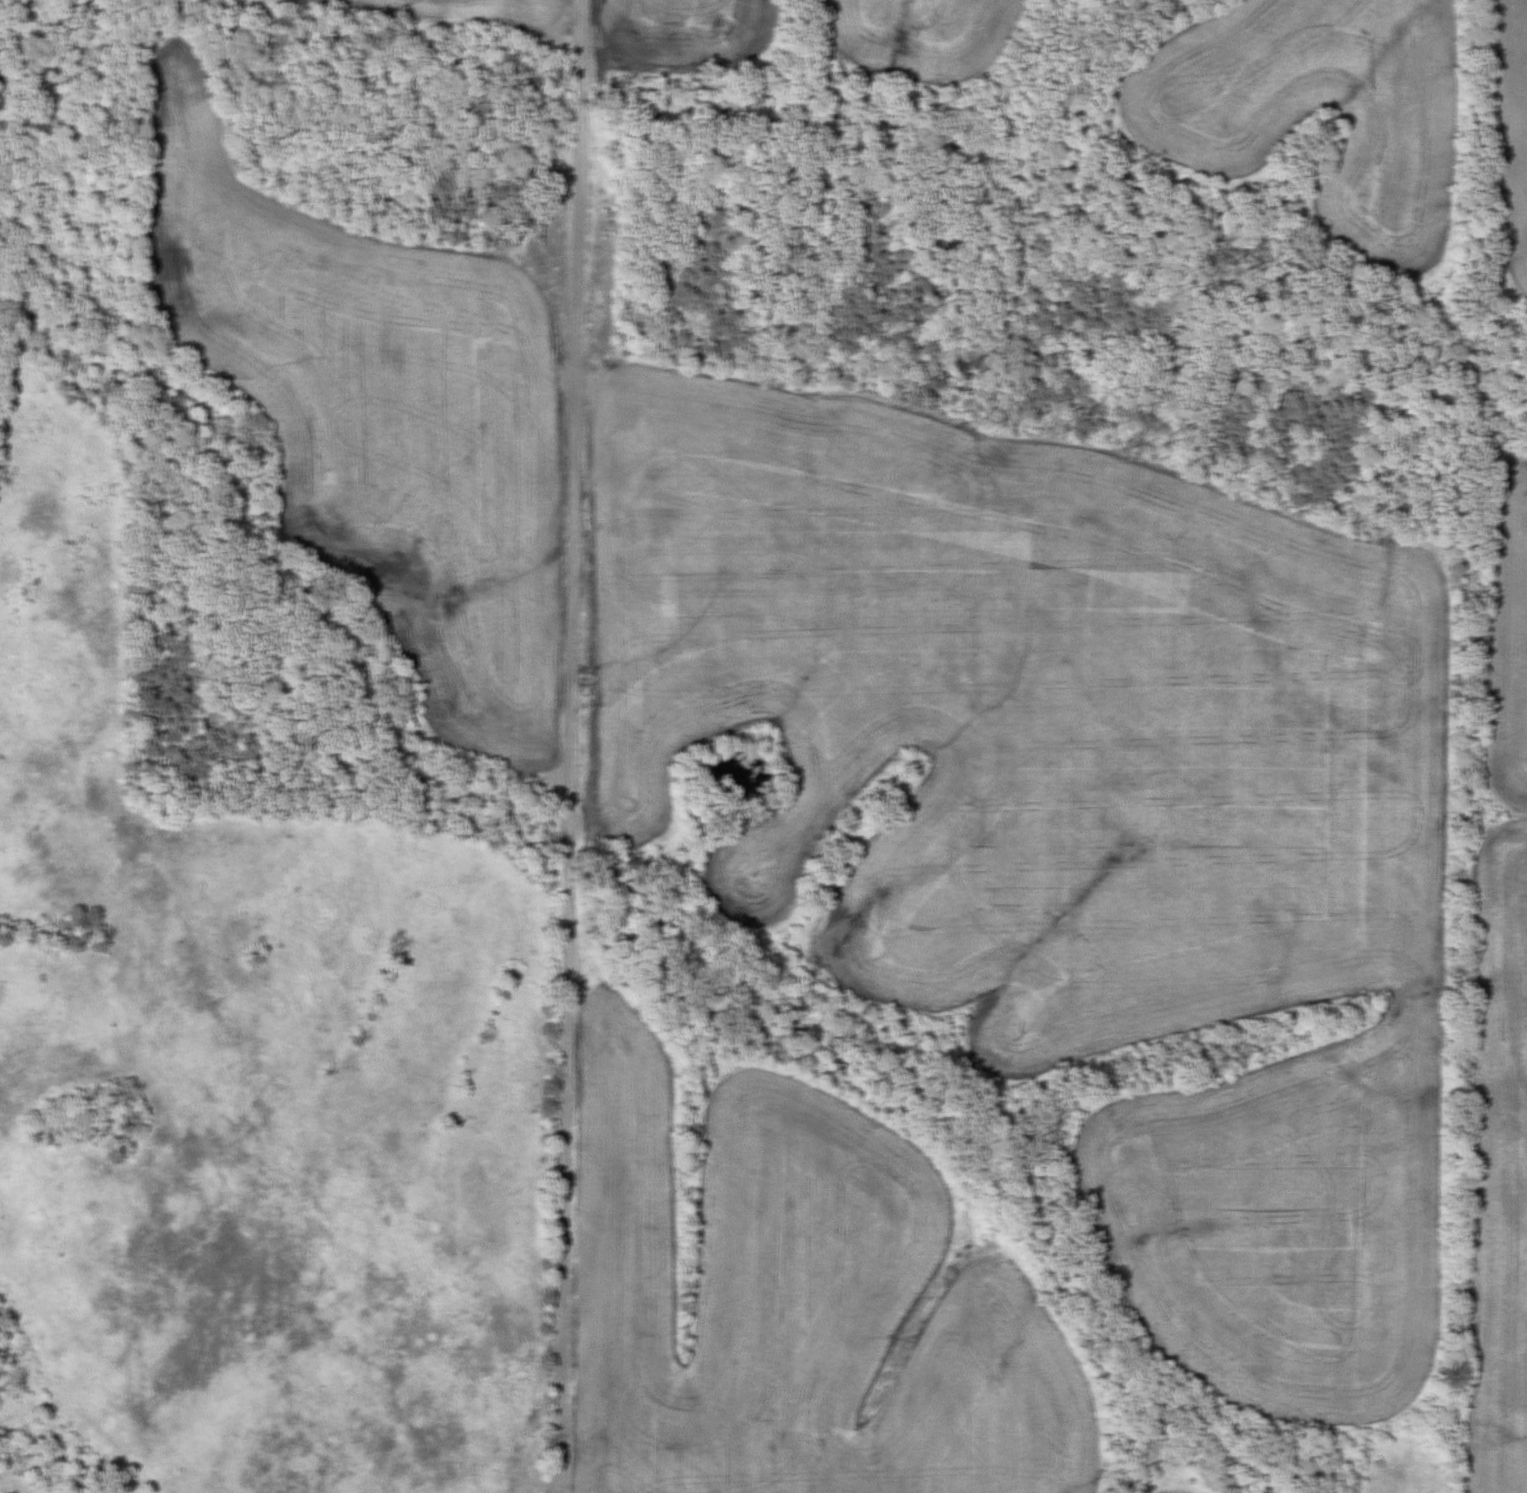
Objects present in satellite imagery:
road: (569, 746)

